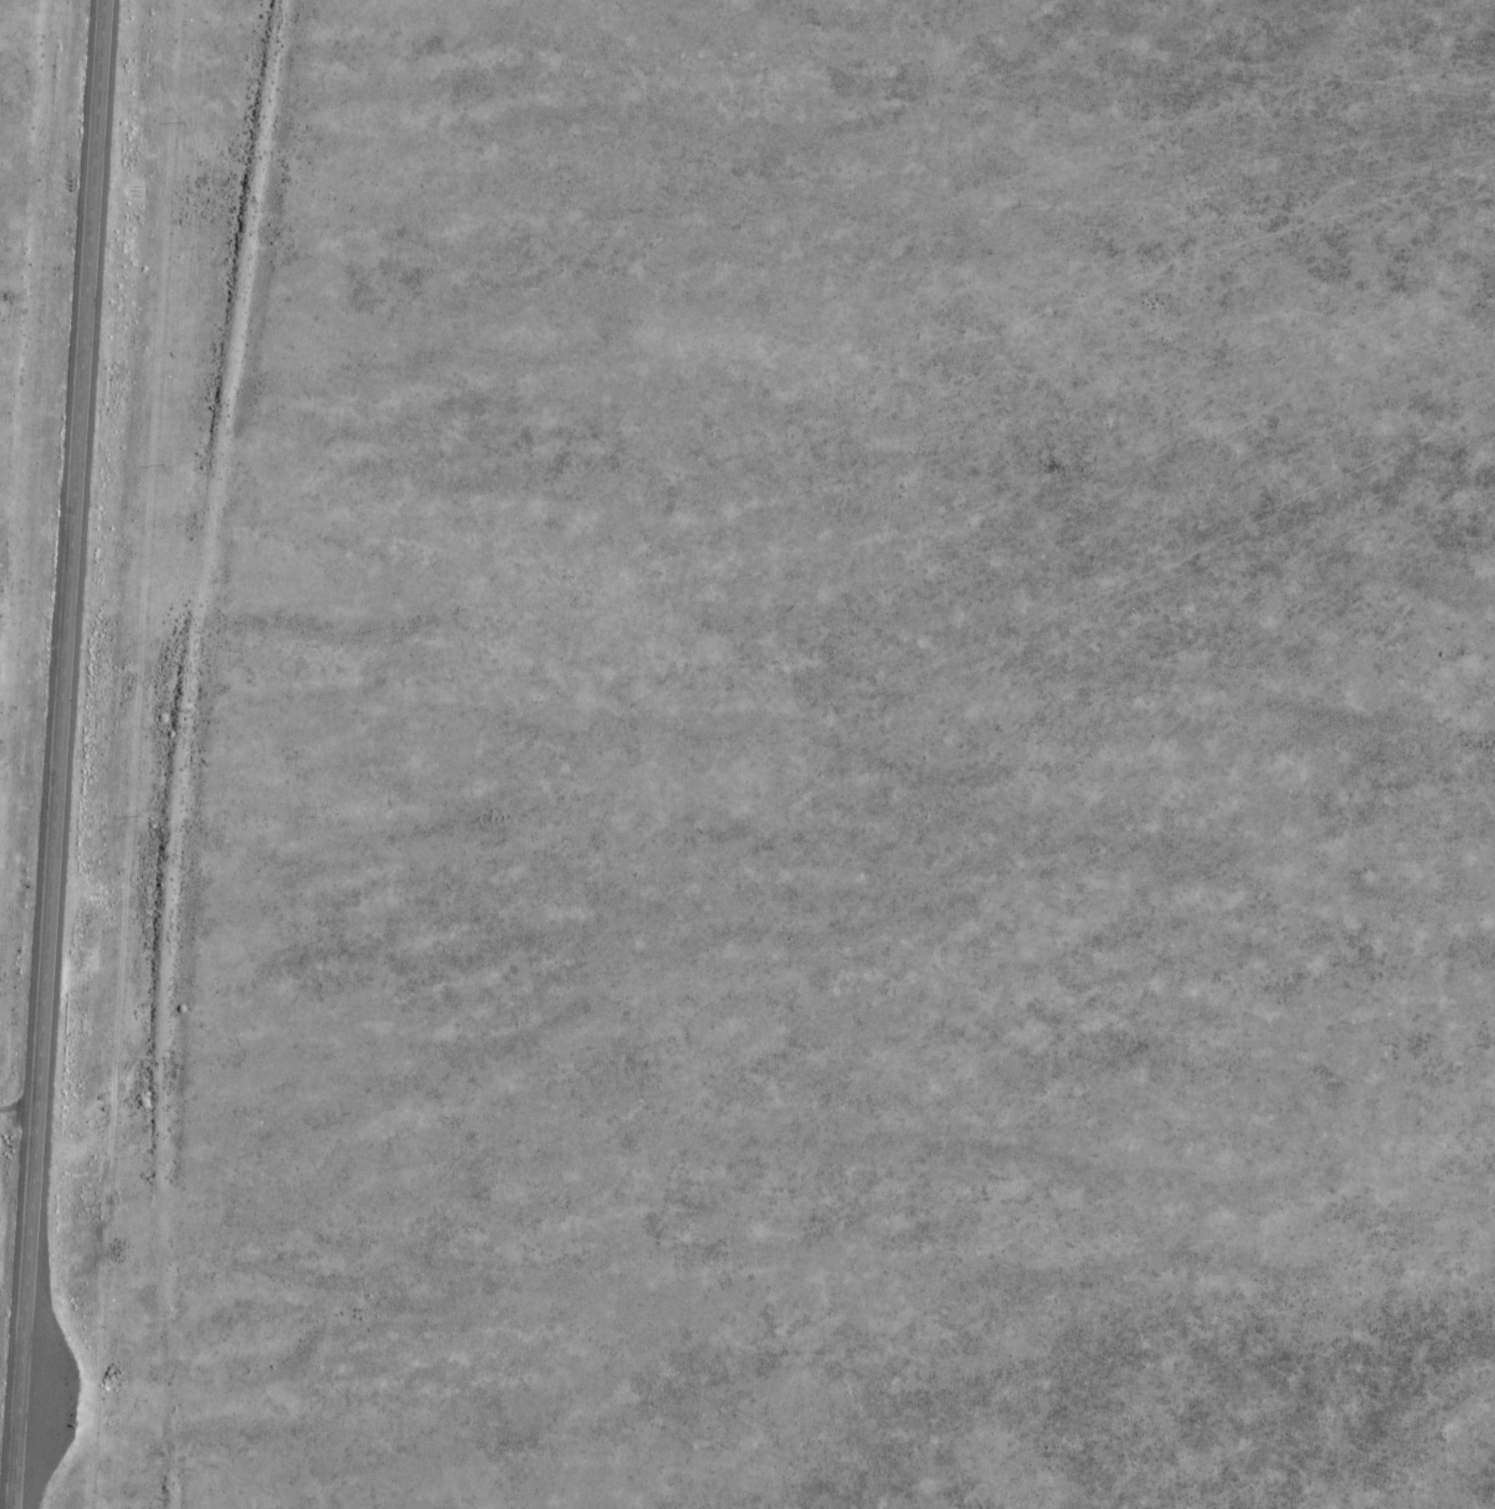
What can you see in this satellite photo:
road: (56, 754)
road: (19, 1116)
parking lot: (41, 1395)

